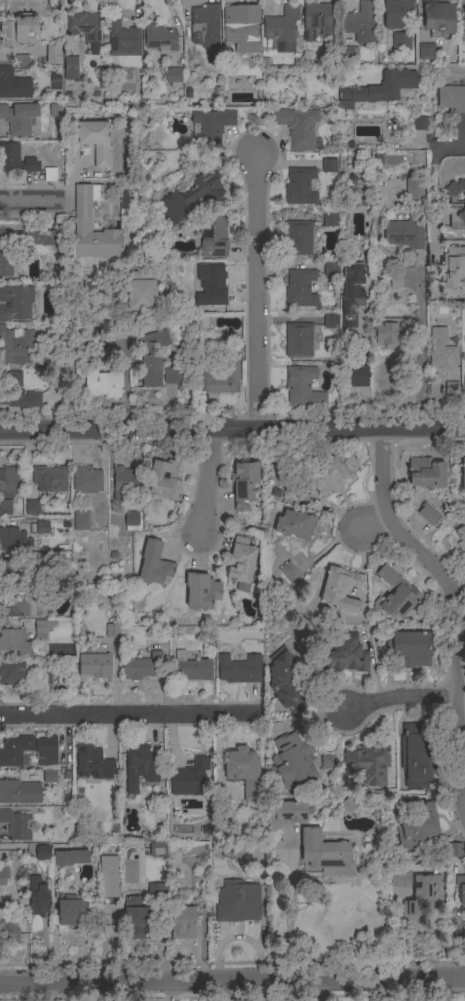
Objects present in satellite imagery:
building: (397, 13)
building: (438, 18)
building: (317, 19)
building: (464, 19)
building: (360, 23)
building: (85, 28)
building: (242, 28)
building: (282, 29)
building: (19, 30)
building: (206, 30)
building: (121, 38)
building: (160, 38)
building: (401, 41)
building: (356, 50)
building: (426, 51)
building: (53, 54)
building: (325, 57)
building: (21, 62)
building: (70, 68)
building: (172, 75)
building: (55, 82)
building: (13, 84)
building: (378, 89)
building: (451, 98)
building: (55, 110)
building: (19, 118)
building: (421, 123)
building: (211, 127)
building: (298, 127)
building: (96, 140)
building: (16, 160)
building: (329, 166)
building: (50, 174)
road: (434, 185)
building: (300, 186)
building: (413, 189)
building: (191, 195)
building: (132, 196)
building: (464, 196)
road: (26, 200)
building: (456, 204)
building: (82, 210)
building: (330, 220)
building: (355, 226)
building: (405, 233)
building: (213, 236)
building: (37, 237)
building: (298, 238)
building: (6, 253)
building: (331, 269)
building: (453, 272)
building: (212, 288)
building: (302, 288)
building: (140, 291)
building: (352, 291)
road: (255, 294)
building: (16, 302)
building: (112, 311)
building: (330, 321)
building: (124, 332)
building: (390, 332)
building: (299, 340)
road: (362, 340)
building: (16, 347)
building: (442, 350)
road: (421, 353)
building: (152, 357)
building: (177, 376)
building: (358, 376)
road: (363, 376)
building: (220, 380)
building: (102, 384)
building: (464, 386)
building: (303, 388)
building: (16, 392)
building: (451, 392)
road: (363, 407)
road: (232, 428)
building: (425, 473)
building: (463, 475)
building: (50, 478)
building: (328, 478)
building: (9, 479)
building: (164, 479)
building: (86, 480)
road: (205, 482)
building: (125, 485)
building: (245, 485)
building: (290, 492)
building: (5, 506)
building: (31, 507)
building: (428, 514)
building: (131, 518)
building: (80, 523)
road: (376, 524)
building: (295, 525)
building: (42, 527)
building: (461, 537)
building: (14, 539)
building: (43, 559)
building: (154, 564)
building: (240, 565)
building: (13, 571)
building: (290, 573)
building: (340, 590)
building: (201, 591)
building: (395, 594)
building: (16, 604)
road: (455, 606)
building: (42, 628)
building: (112, 630)
building: (14, 641)
building: (412, 648)
building: (345, 654)
building: (95, 665)
building: (139, 665)
building: (190, 668)
building: (240, 668)
building: (11, 672)
building: (44, 677)
building: (287, 682)
road: (403, 699)
road: (129, 715)
building: (15, 750)
building: (46, 751)
building: (416, 756)
building: (292, 762)
building: (327, 762)
building: (93, 763)
building: (368, 764)
building: (140, 768)
building: (244, 771)
building: (65, 774)
building: (49, 776)
building: (190, 778)
building: (19, 792)
building: (349, 803)
building: (287, 812)
building: (15, 825)
building: (416, 828)
building: (195, 848)
building: (158, 849)
building: (231, 850)
building: (454, 850)
building: (42, 853)
building: (325, 853)
building: (71, 857)
building: (3, 870)
building: (109, 876)
building: (401, 879)
building: (461, 890)
building: (157, 891)
building: (38, 897)
building: (423, 898)
building: (238, 902)
road: (289, 904)
building: (70, 910)
building: (109, 914)
building: (136, 919)
building: (182, 922)
road: (55, 929)
building: (8, 930)
building: (111, 931)
road: (232, 982)

